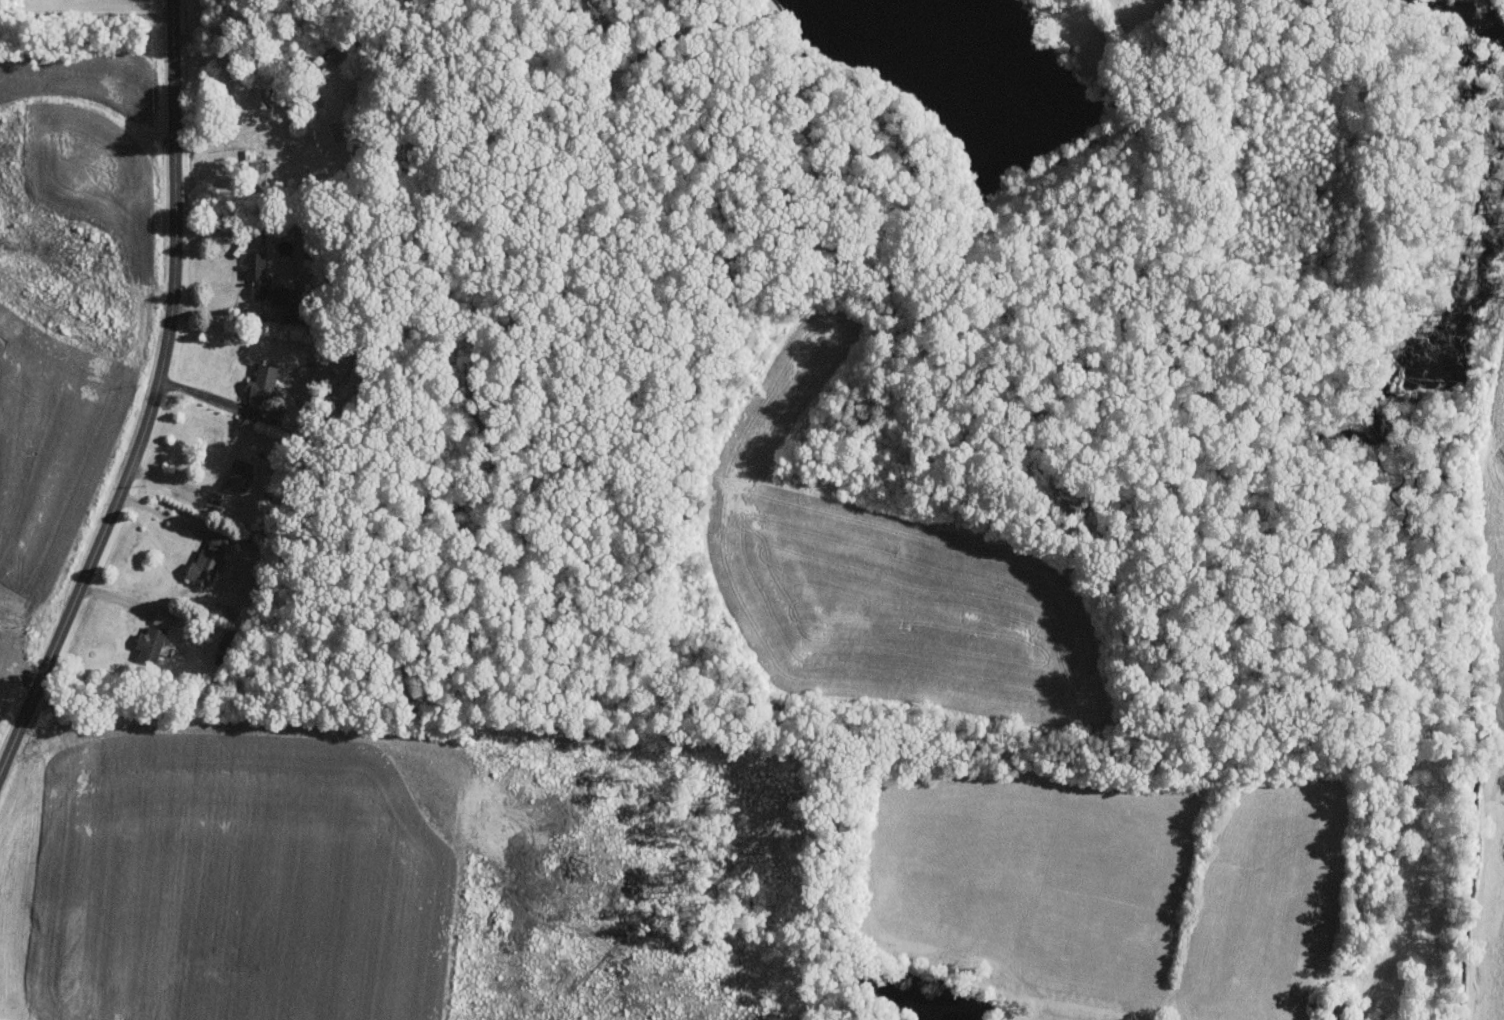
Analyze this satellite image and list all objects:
road: (86, 14)
road: (230, 85)
building: (260, 97)
building: (258, 274)
building: (280, 294)
road: (236, 314)
building: (264, 385)
road: (219, 398)
road: (156, 401)
building: (240, 473)
road: (163, 513)
building: (208, 560)
building: (164, 615)
building: (152, 642)

